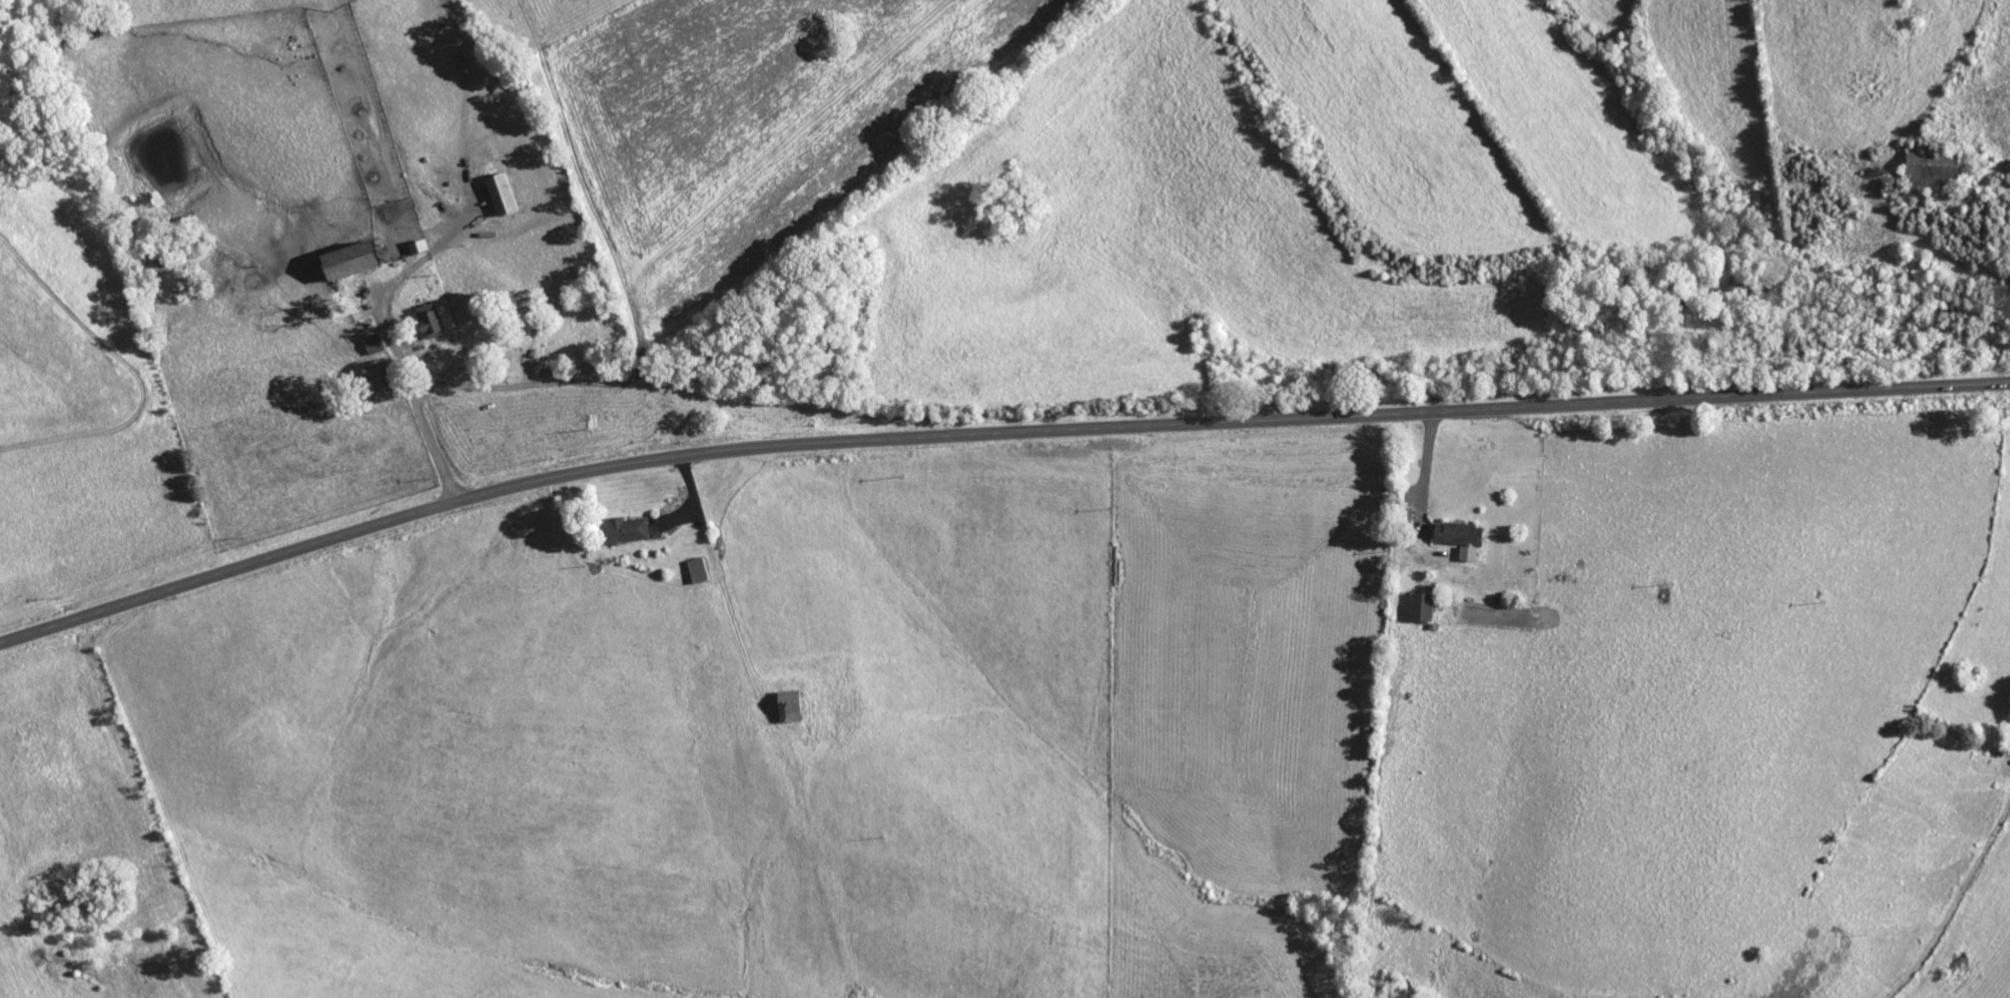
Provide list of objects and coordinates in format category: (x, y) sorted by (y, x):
building: (1937, 170)
building: (502, 194)
building: (419, 246)
building: (353, 260)
building: (431, 320)
building: (375, 344)
road: (992, 436)
building: (626, 530)
building: (1460, 533)
building: (1470, 553)
building: (699, 571)
building: (1424, 607)
building: (792, 707)

